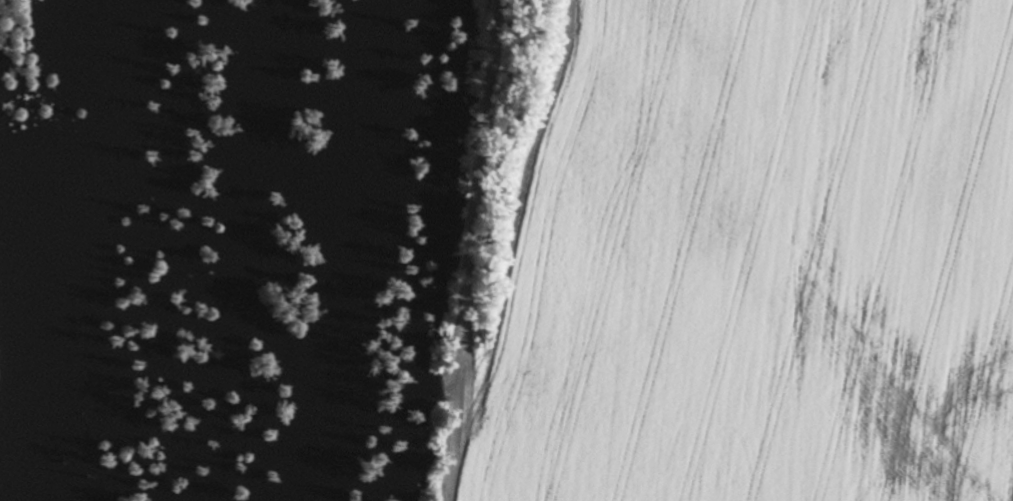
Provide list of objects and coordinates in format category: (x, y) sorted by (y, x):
road: (613, 250)

